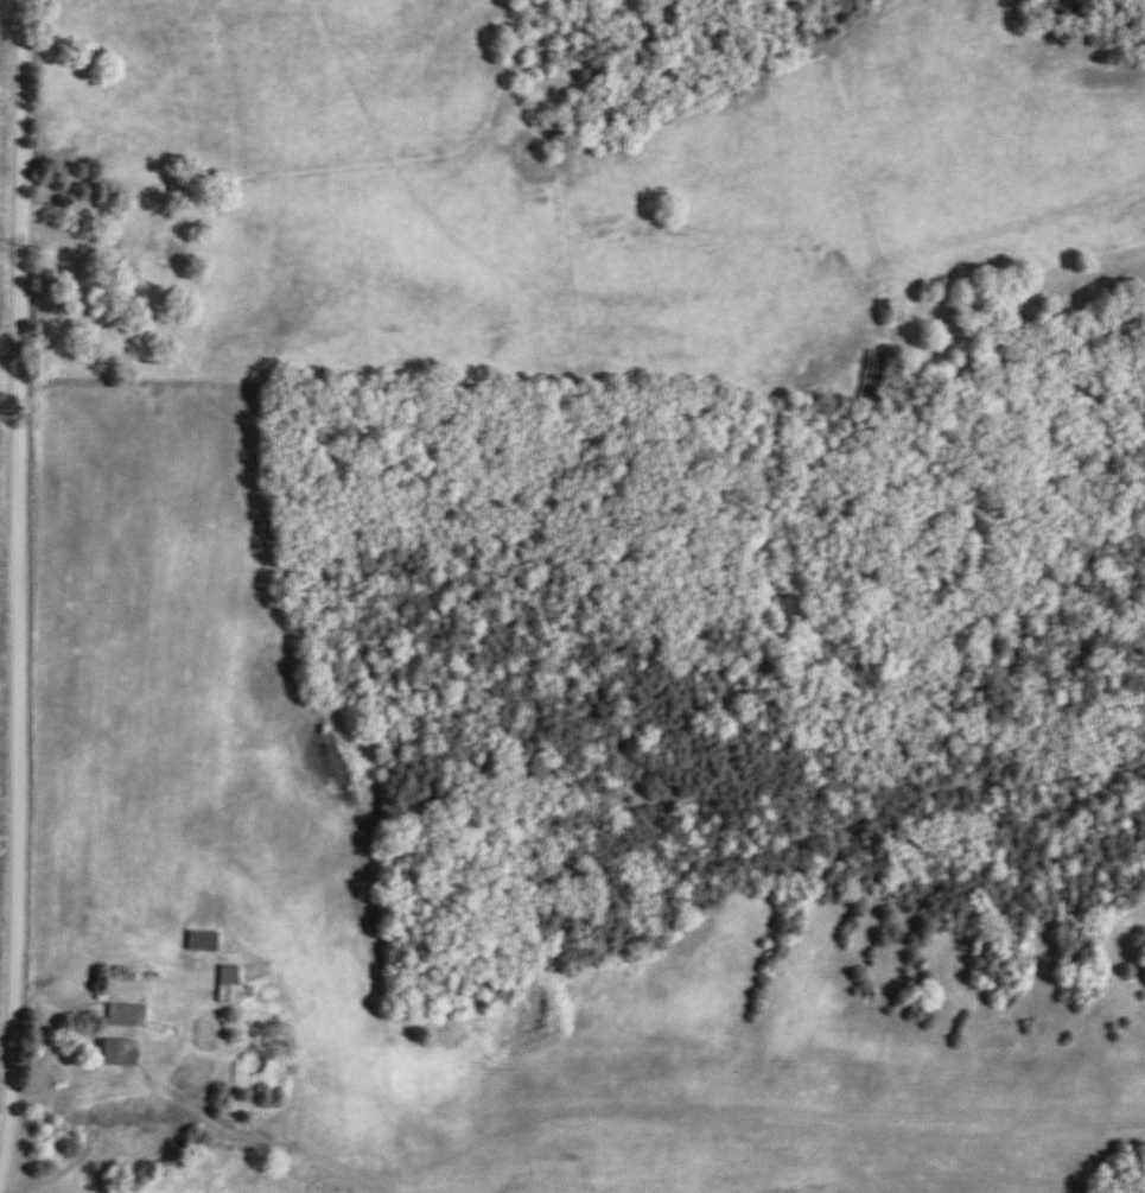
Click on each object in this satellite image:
road: (17, 575)
building: (202, 941)
building: (228, 984)
building: (126, 1016)
building: (117, 1054)

